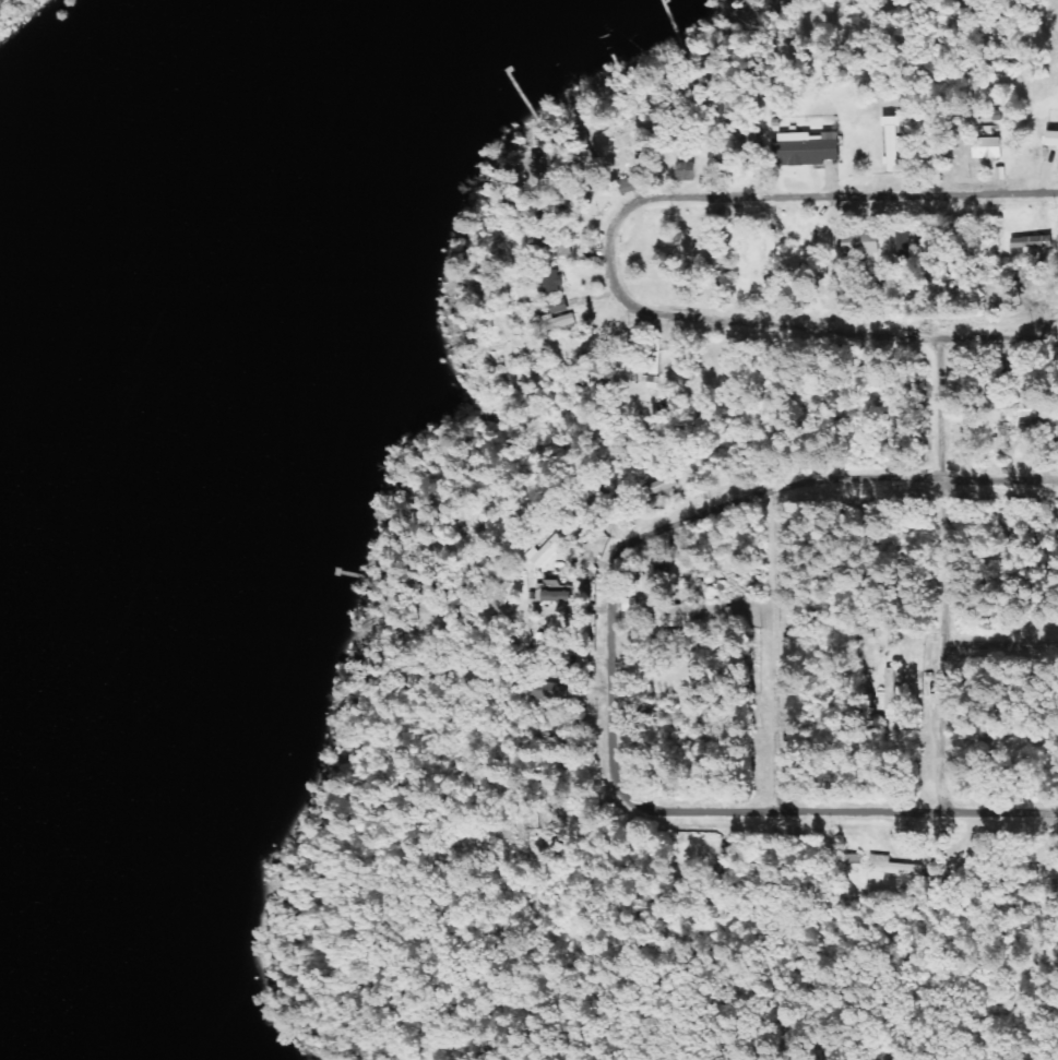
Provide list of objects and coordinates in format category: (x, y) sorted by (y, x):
building: (1051, 138)
building: (891, 144)
building: (804, 147)
building: (986, 147)
road: (842, 200)
building: (858, 242)
building: (552, 281)
building: (552, 319)
road: (787, 325)
building: (1037, 426)
building: (658, 486)
building: (545, 551)
road: (940, 575)
building: (555, 592)
road: (999, 645)
road: (772, 651)
road: (607, 665)
building: (889, 868)

